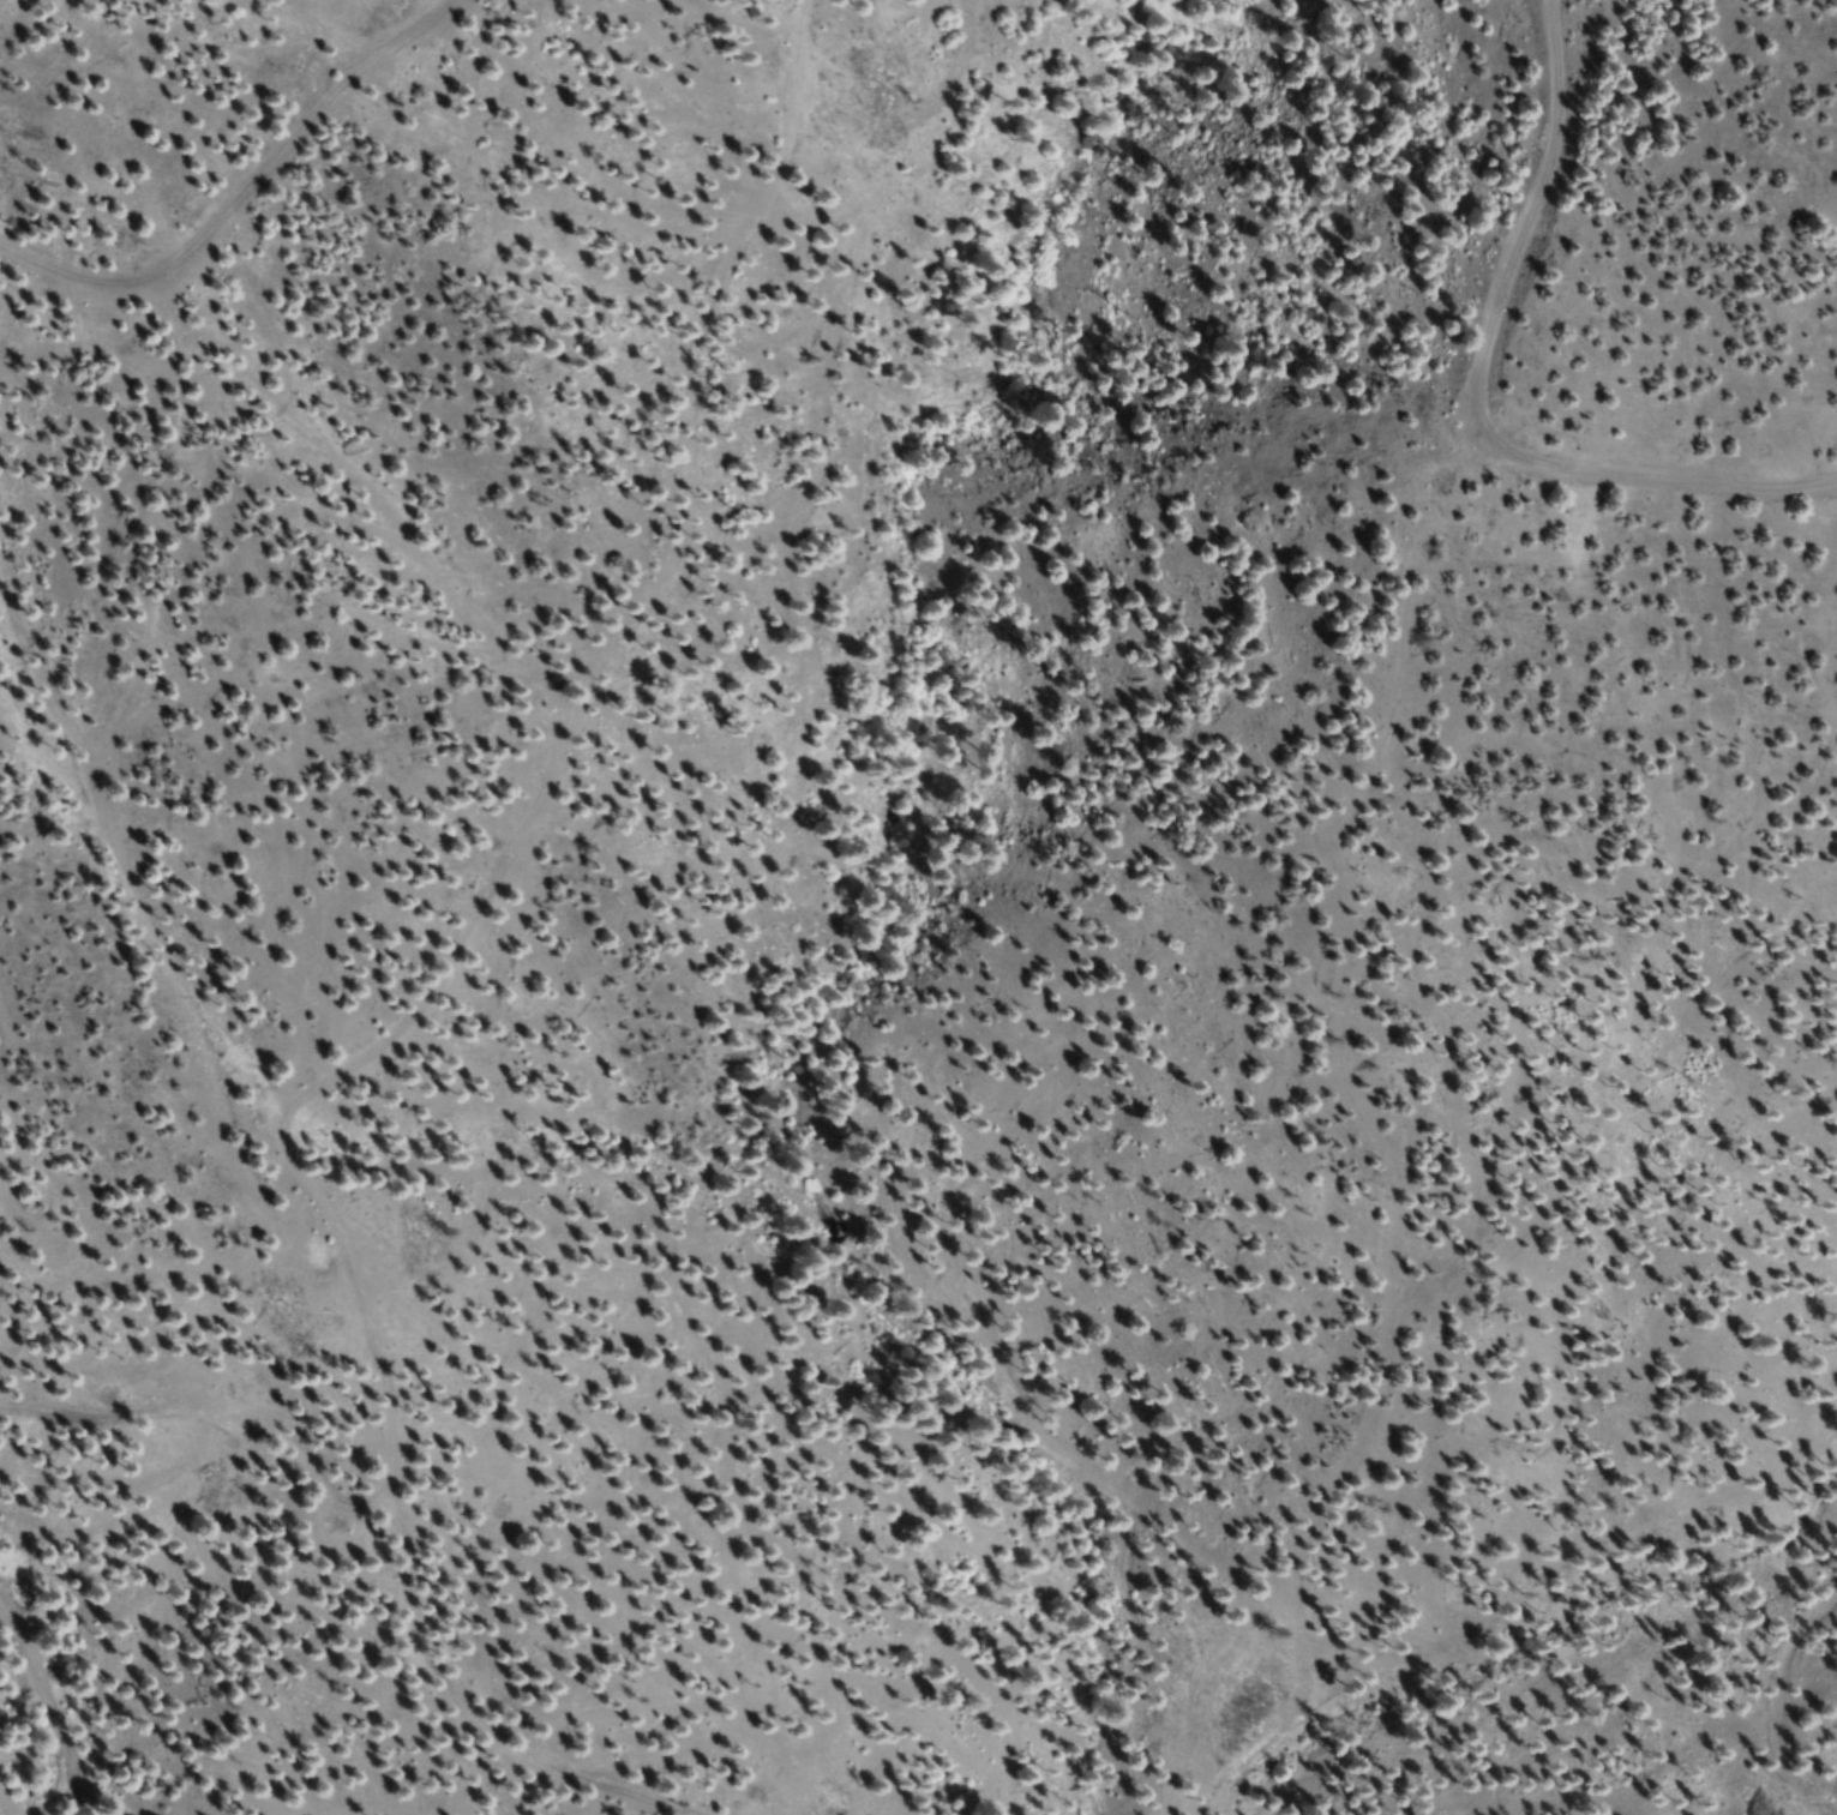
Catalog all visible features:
road: (242, 229)
road: (1494, 381)
road: (569, 1781)

